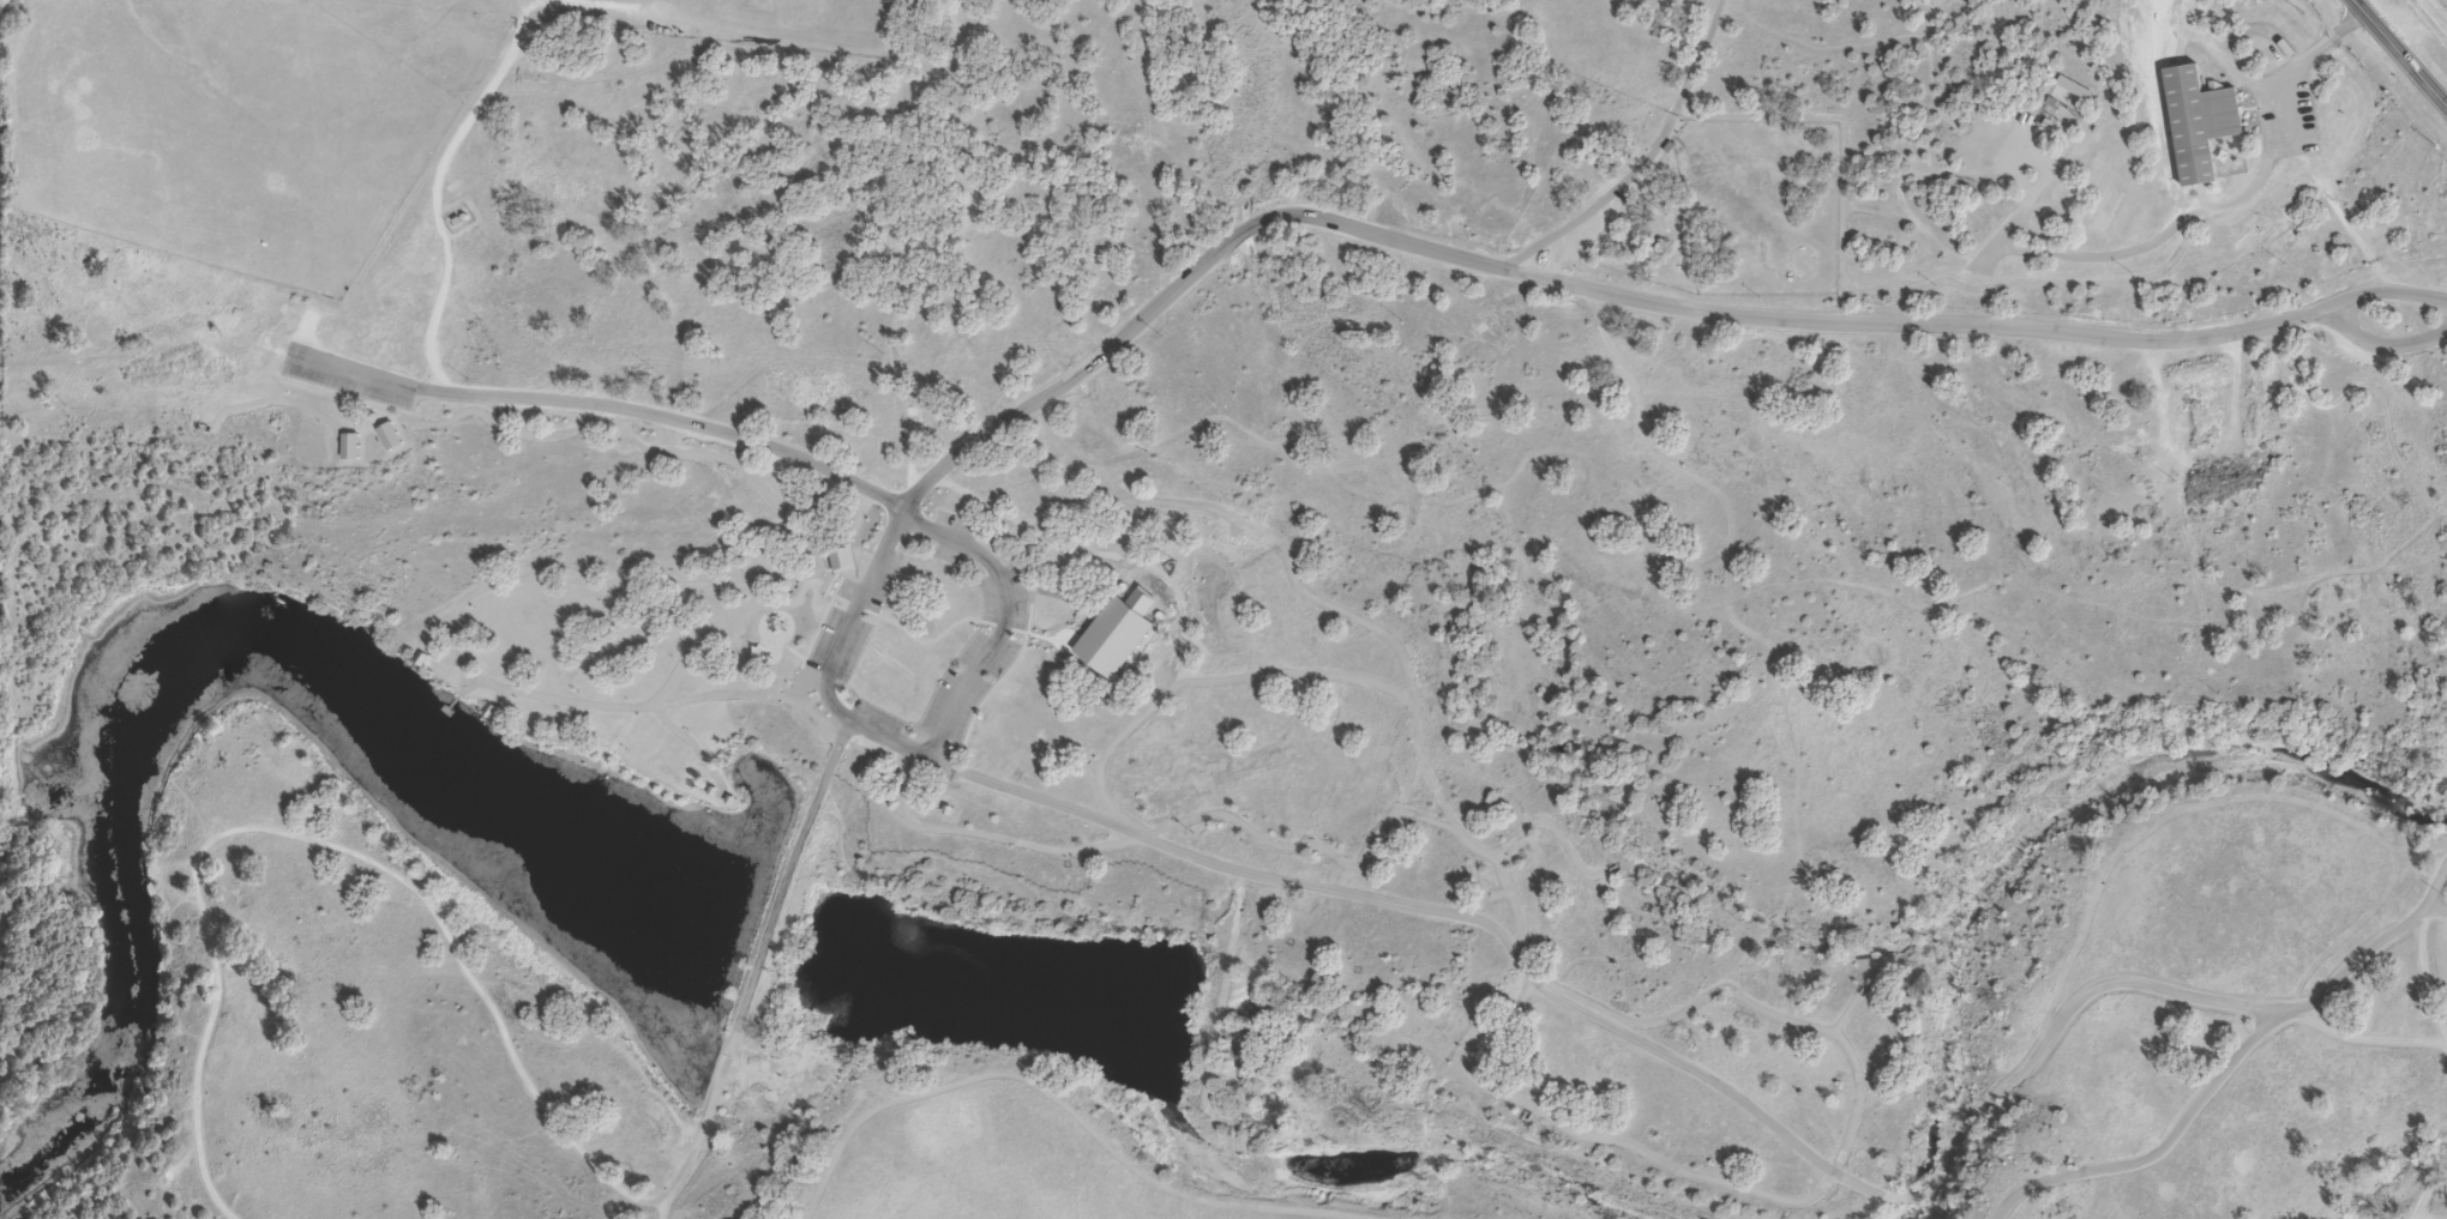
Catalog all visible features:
road: (2401, 50)
building: (2198, 125)
road: (2184, 228)
road: (2379, 350)
road: (612, 411)
building: (908, 414)
road: (1004, 612)
road: (847, 711)
road: (371, 858)
road: (1076, 1111)
road: (2157, 1152)
road: (2425, 1206)
road: (660, 1207)

